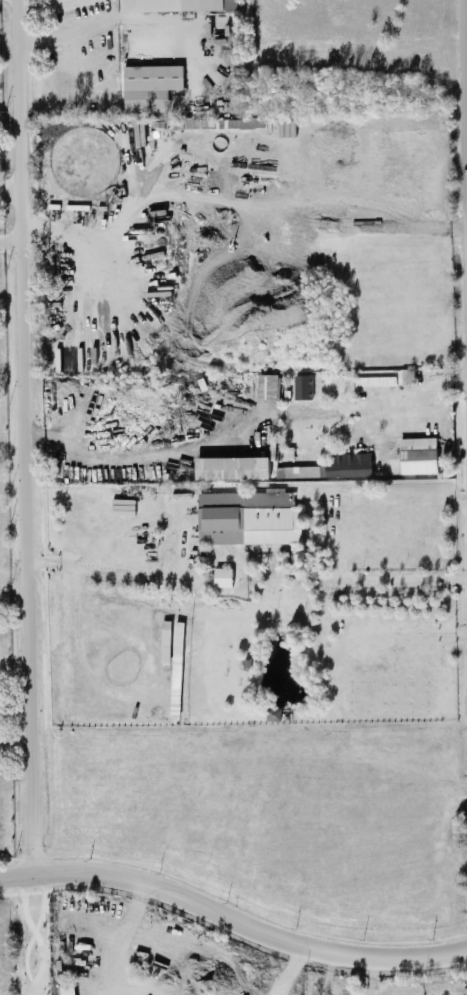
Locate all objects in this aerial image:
building: (171, 5)
road: (464, 18)
road: (114, 26)
building: (150, 84)
road: (463, 130)
road: (466, 185)
road: (10, 189)
building: (265, 385)
building: (302, 386)
road: (393, 406)
road: (25, 435)
building: (417, 457)
building: (335, 466)
building: (246, 518)
road: (101, 568)
road: (389, 573)
building: (222, 576)
road: (231, 920)
road: (232, 935)
road: (30, 936)
road: (38, 943)
building: (66, 989)

